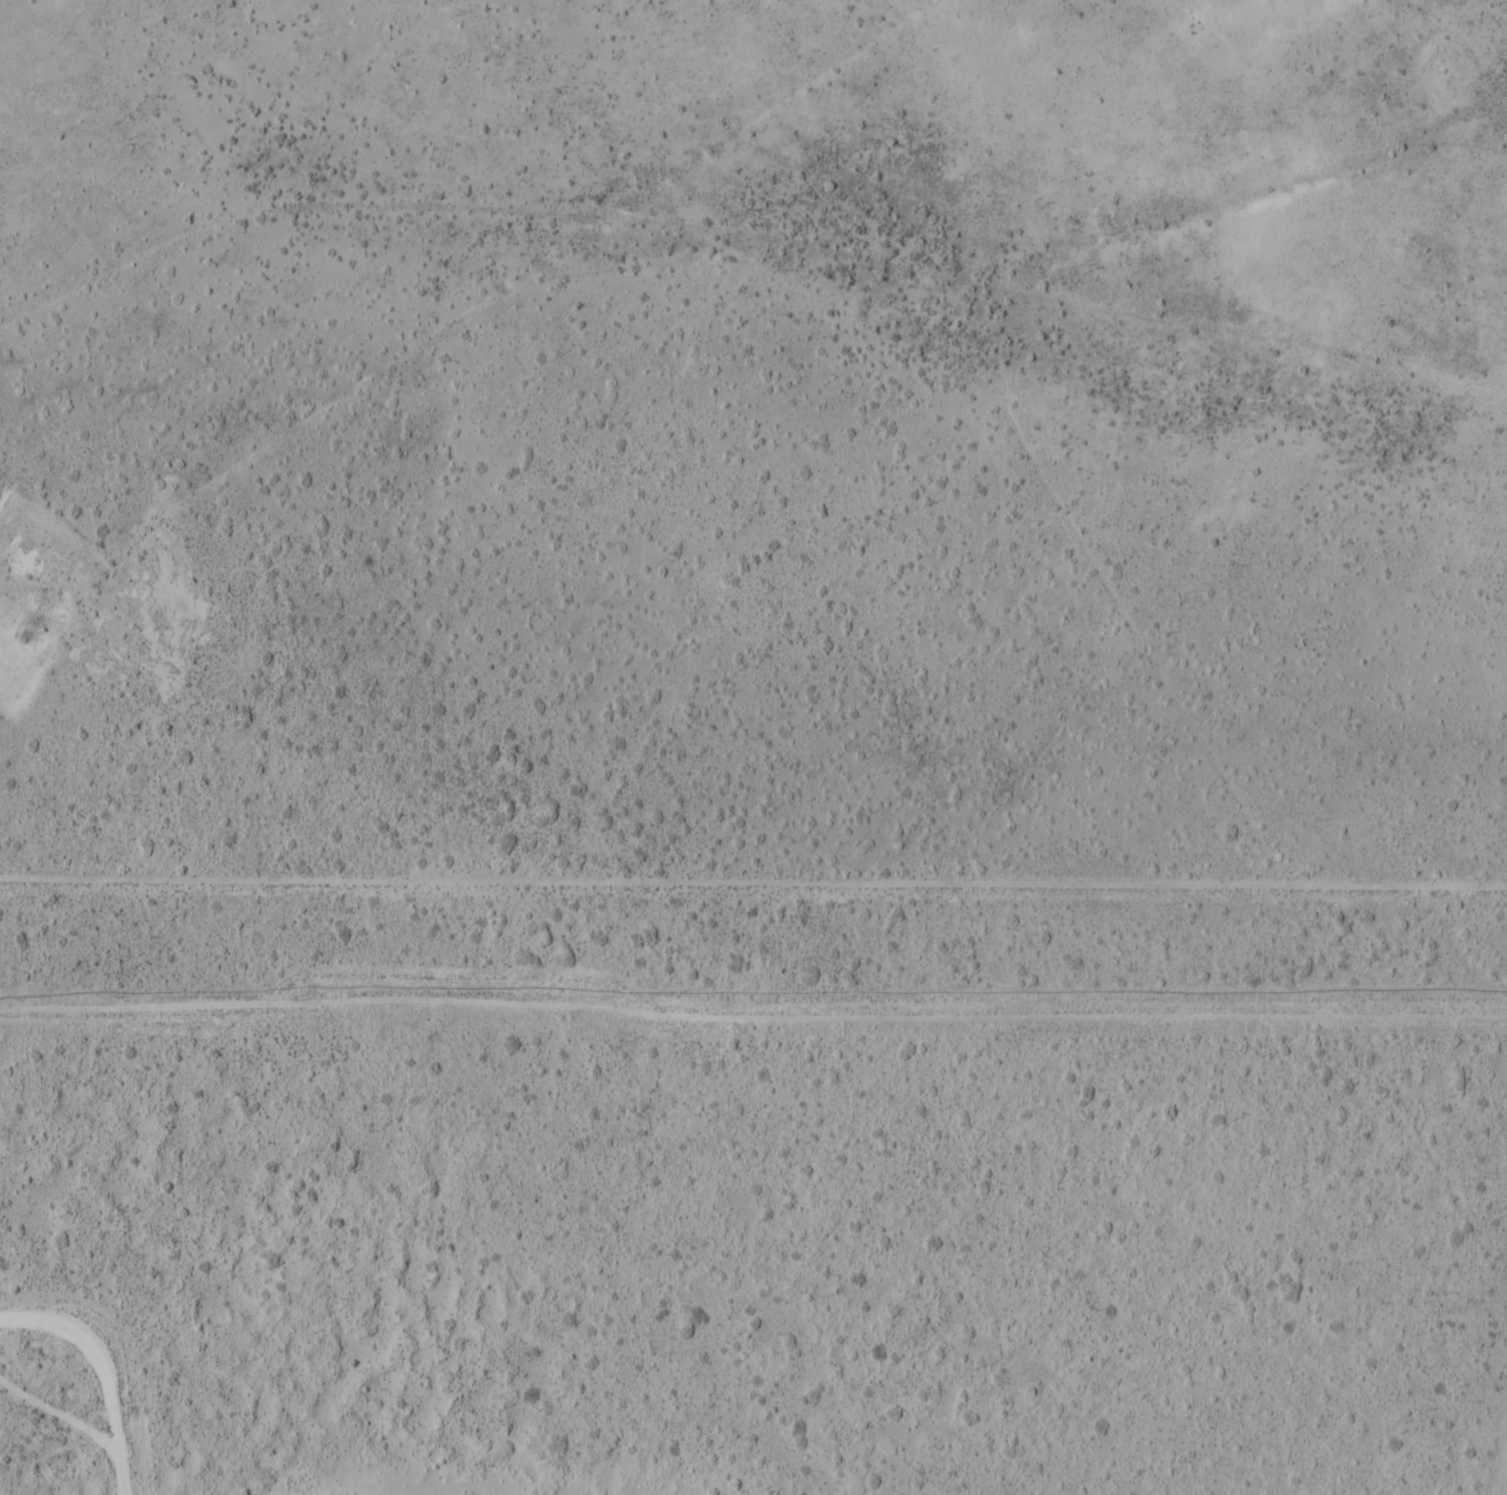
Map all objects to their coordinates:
road: (102, 1369)

